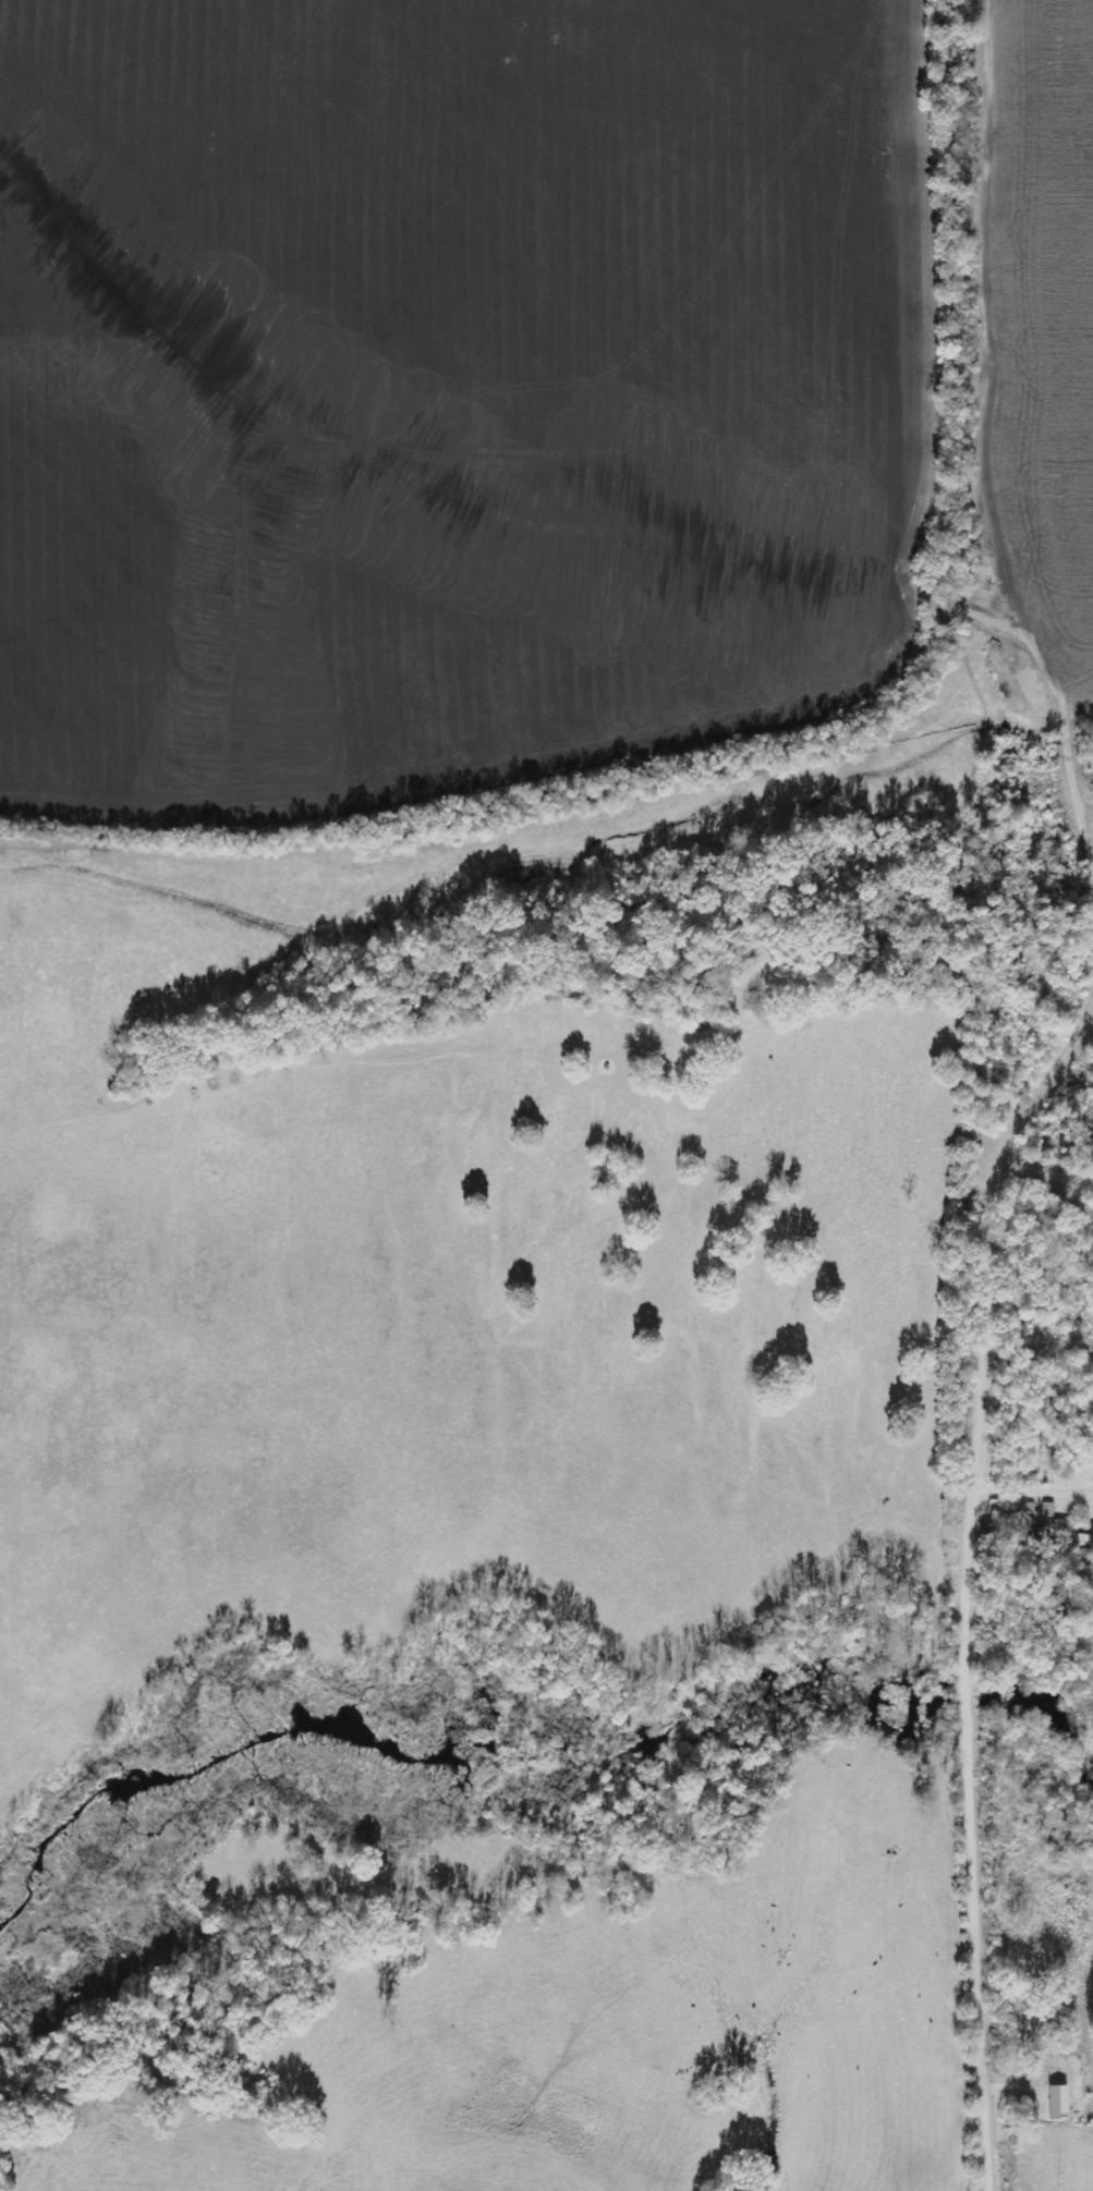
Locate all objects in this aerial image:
road: (1083, 53)
road: (1019, 656)
road: (1066, 947)
road: (947, 1039)
road: (1037, 1485)
building: (1042, 1518)
road: (971, 1672)
building: (1058, 2098)

